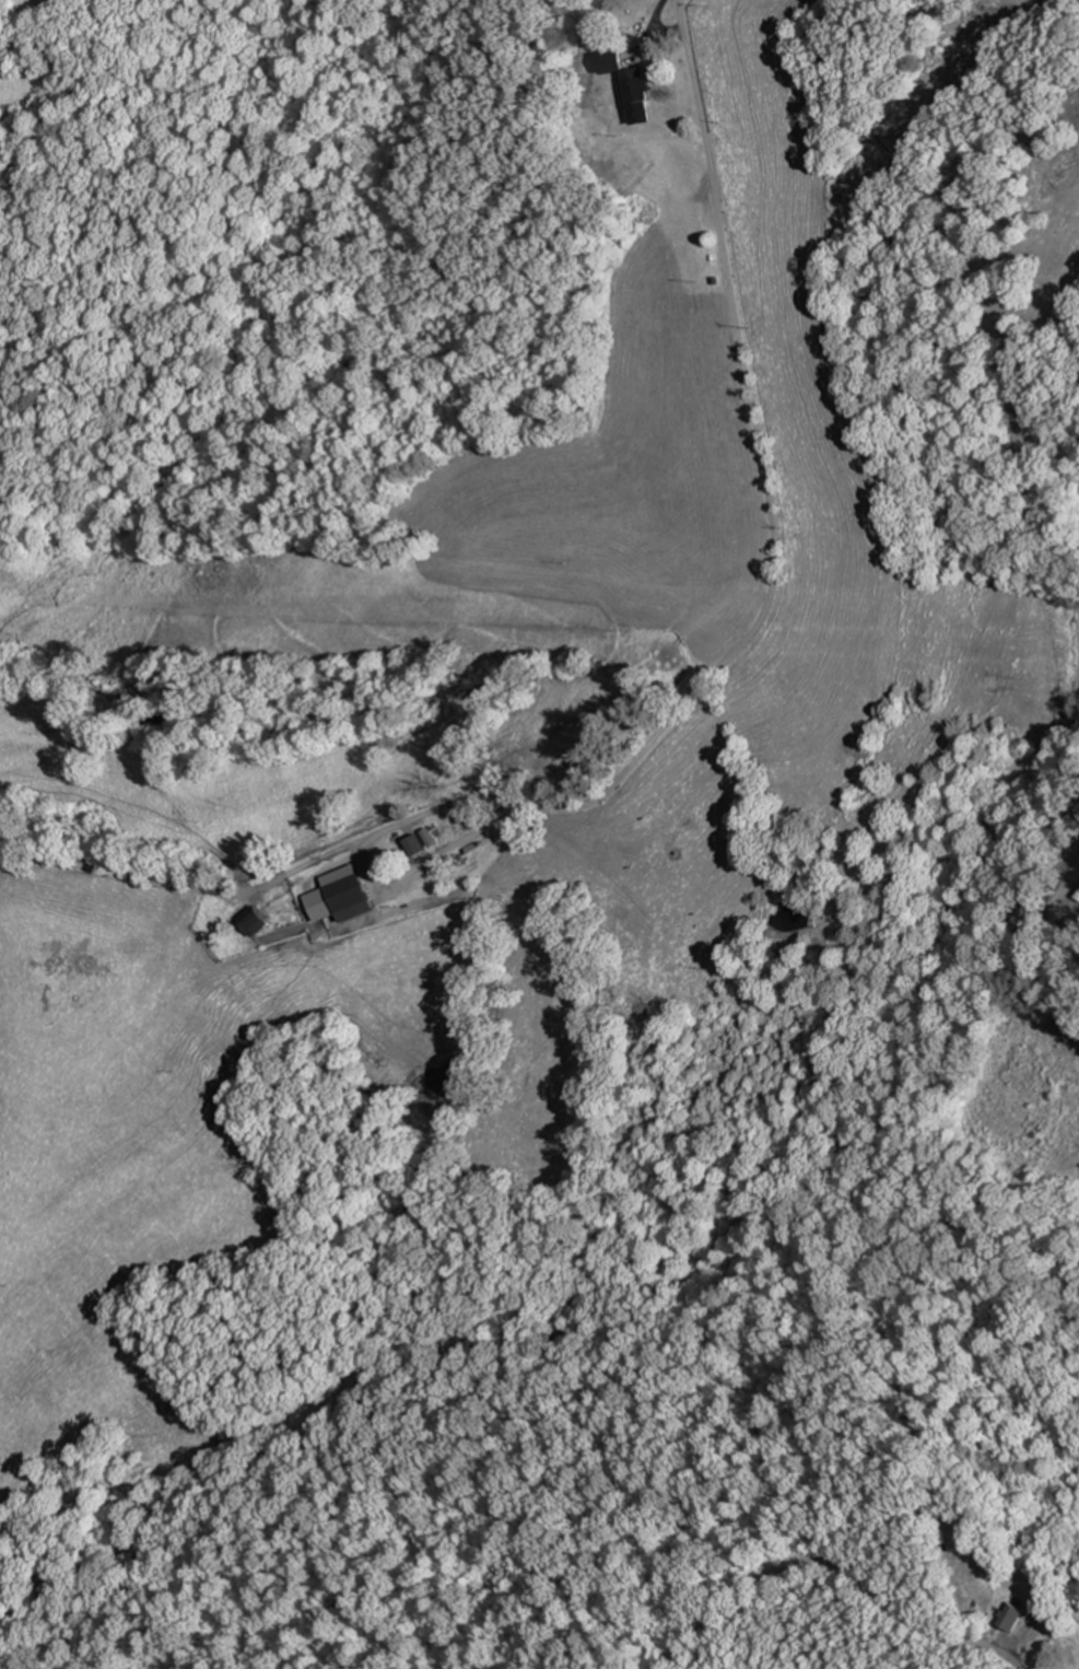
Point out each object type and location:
building: (634, 86)
building: (699, 234)
road: (776, 587)
building: (343, 896)
building: (257, 921)
road: (843, 1564)
building: (1015, 1617)

